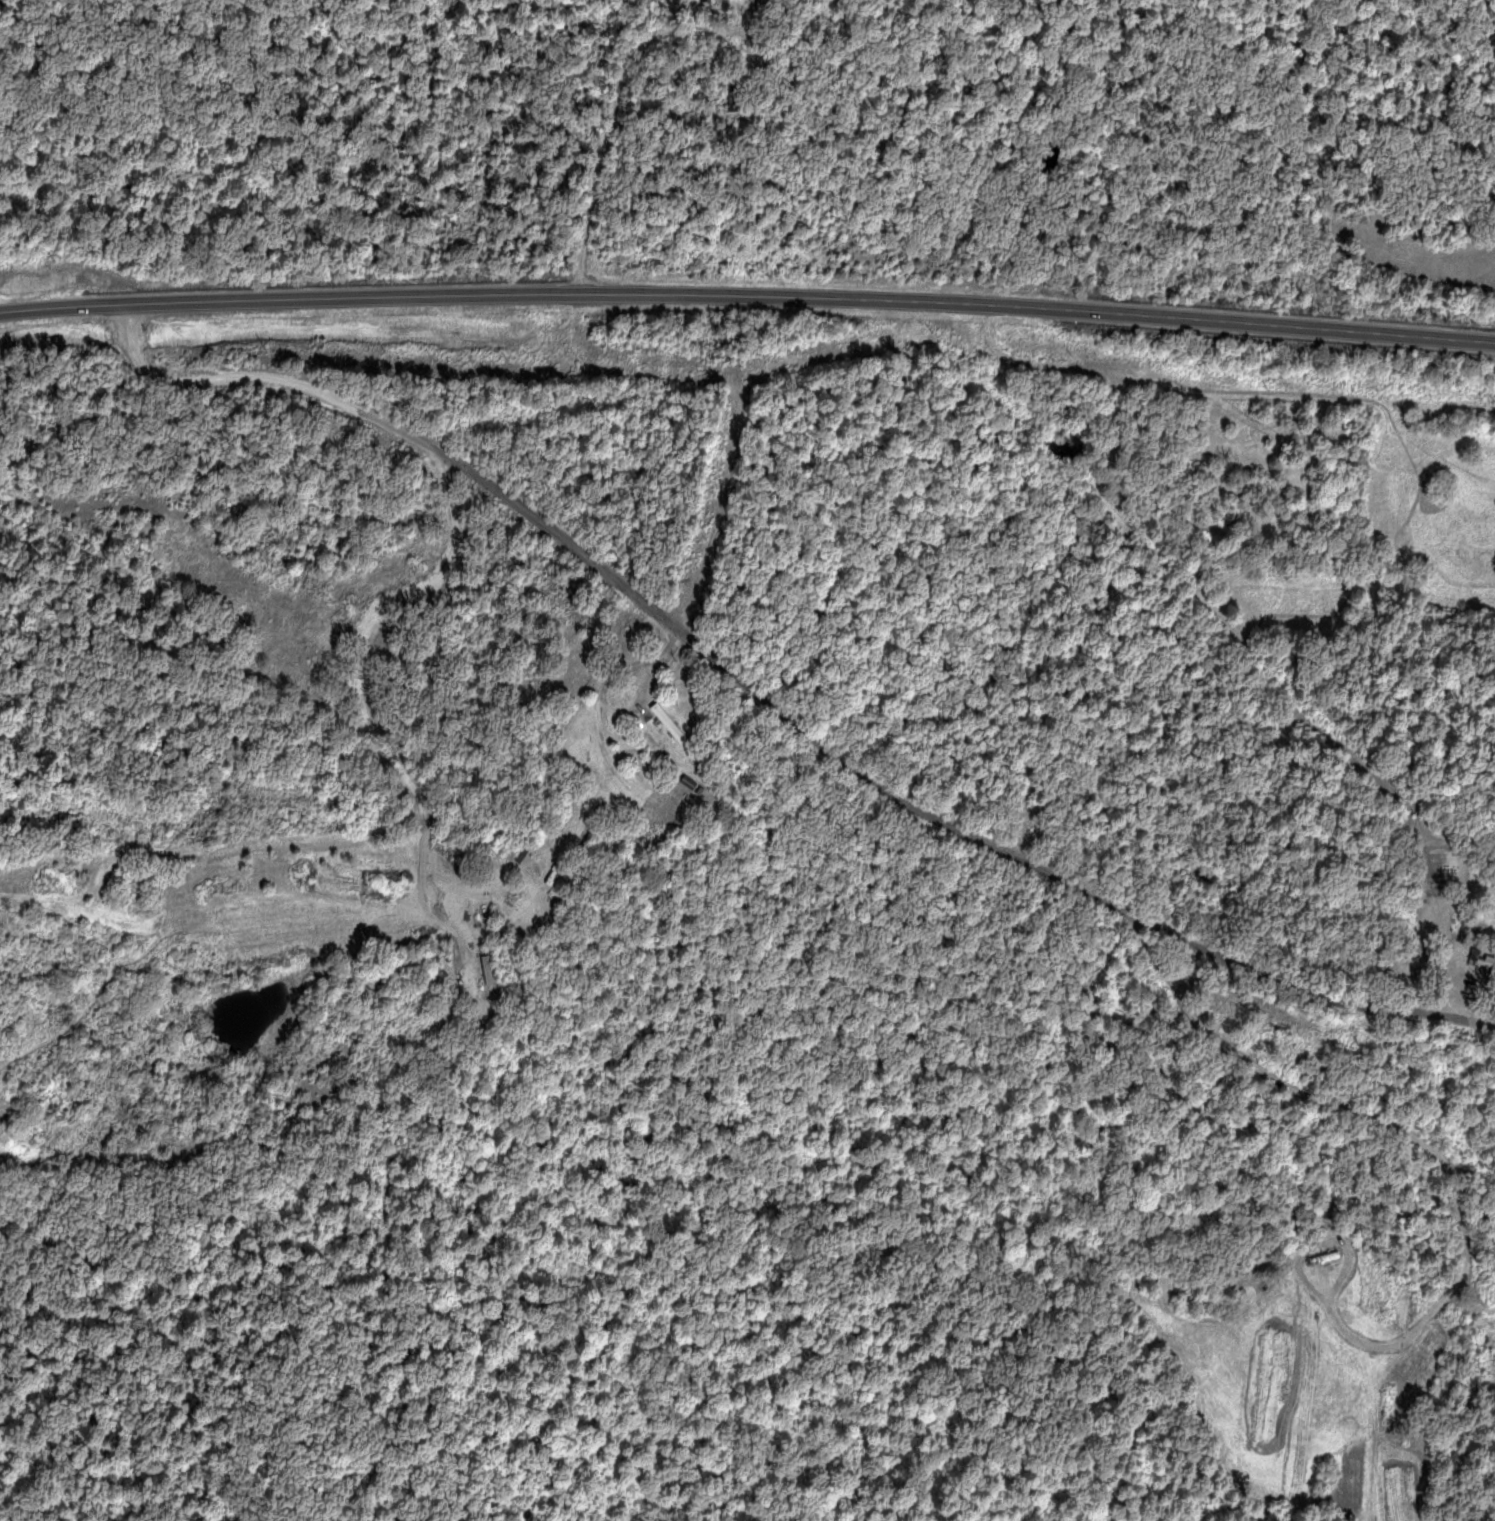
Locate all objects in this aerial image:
road: (633, 61)
road: (748, 298)
road: (725, 503)
road: (773, 705)
building: (671, 725)

